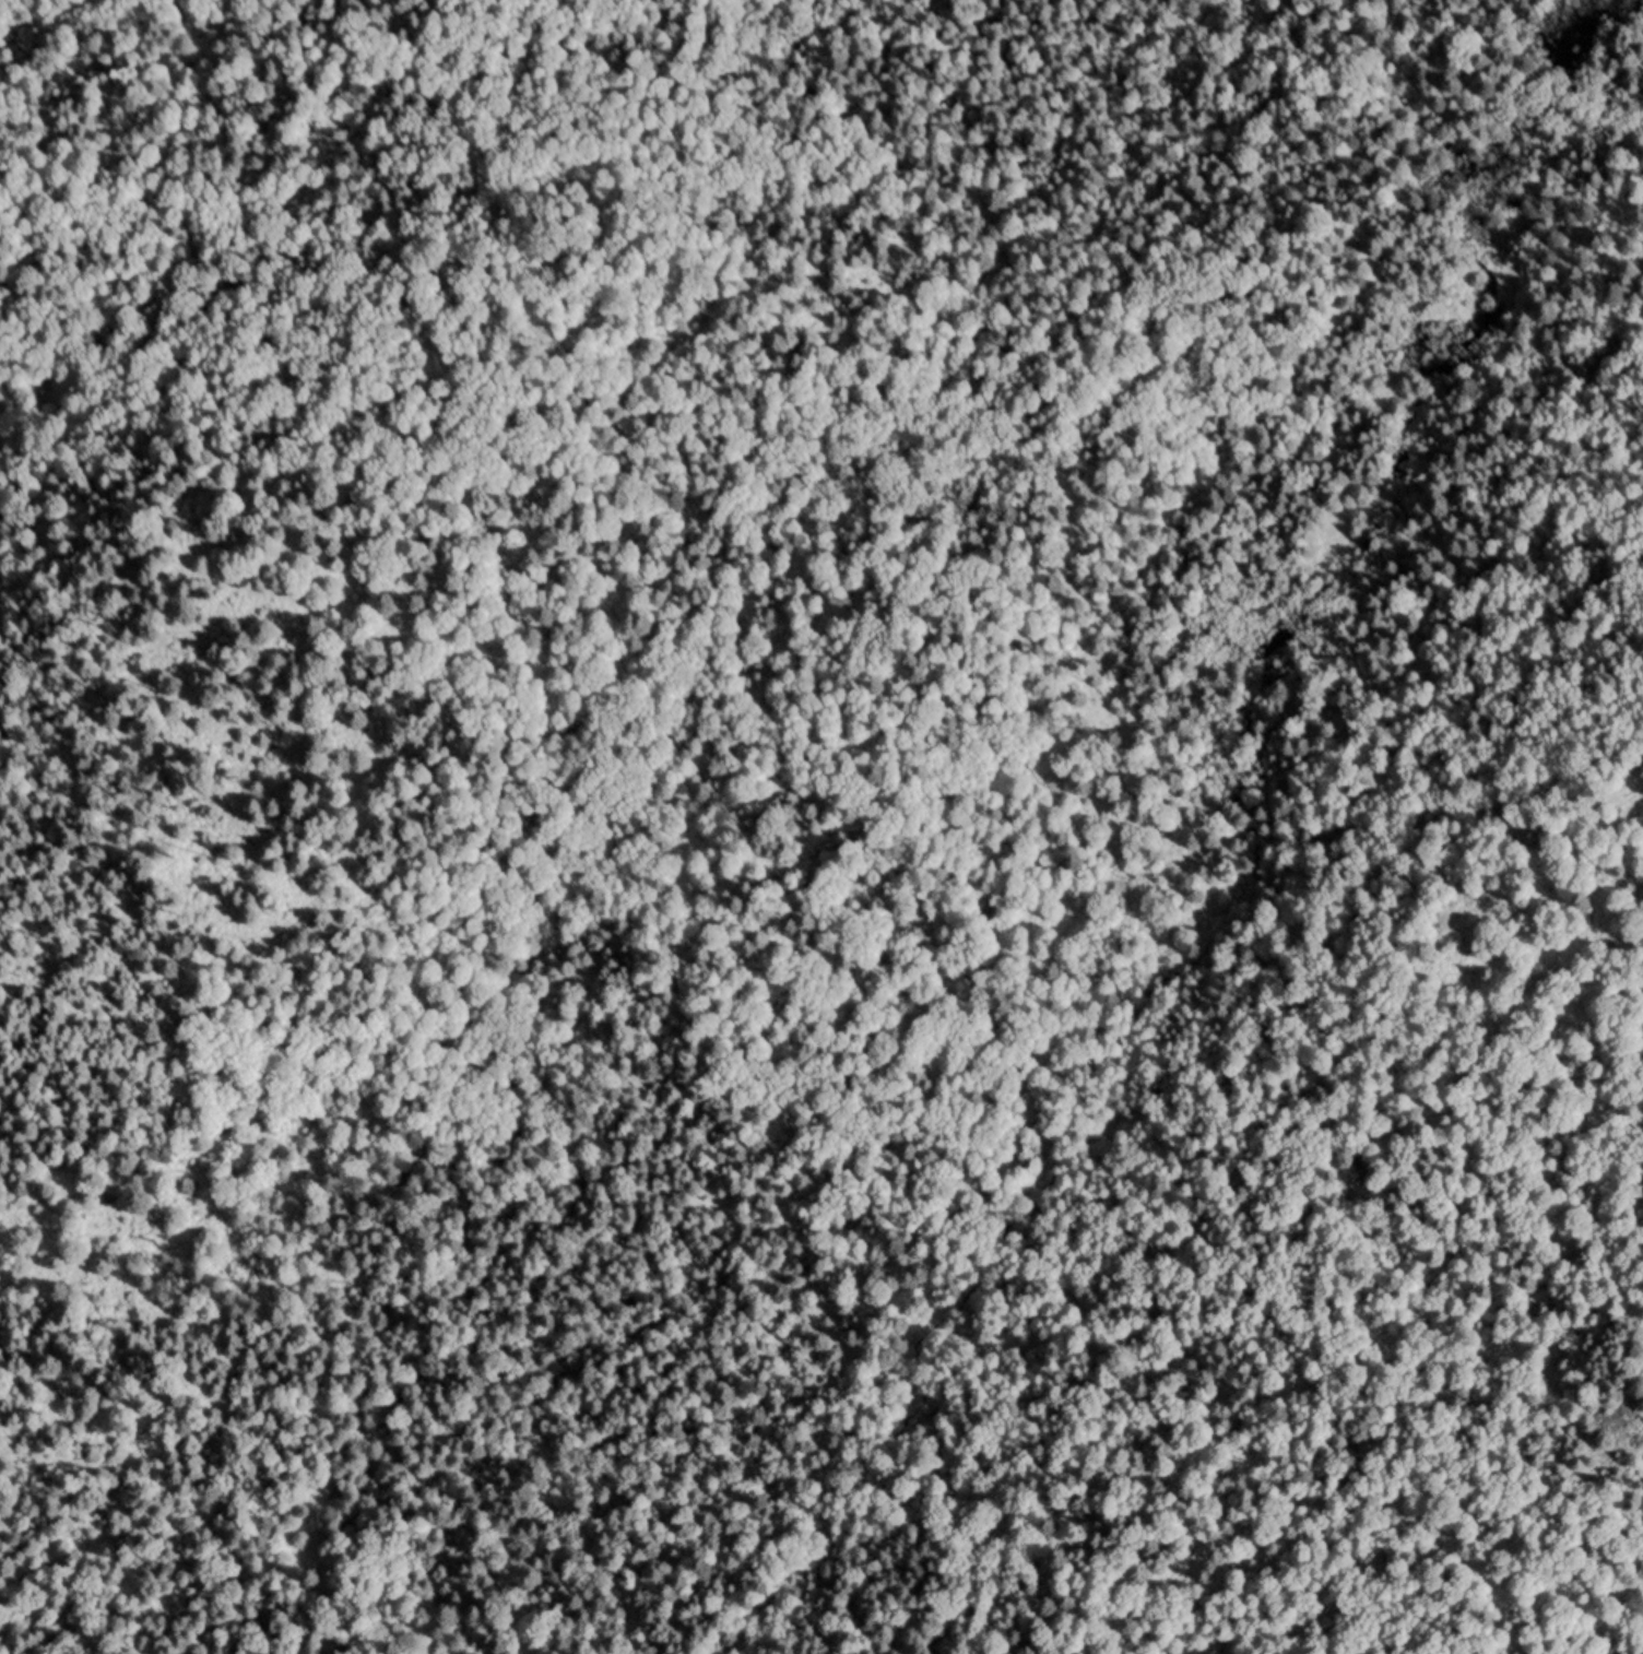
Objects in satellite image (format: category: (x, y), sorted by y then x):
road: (1557, 1567)

